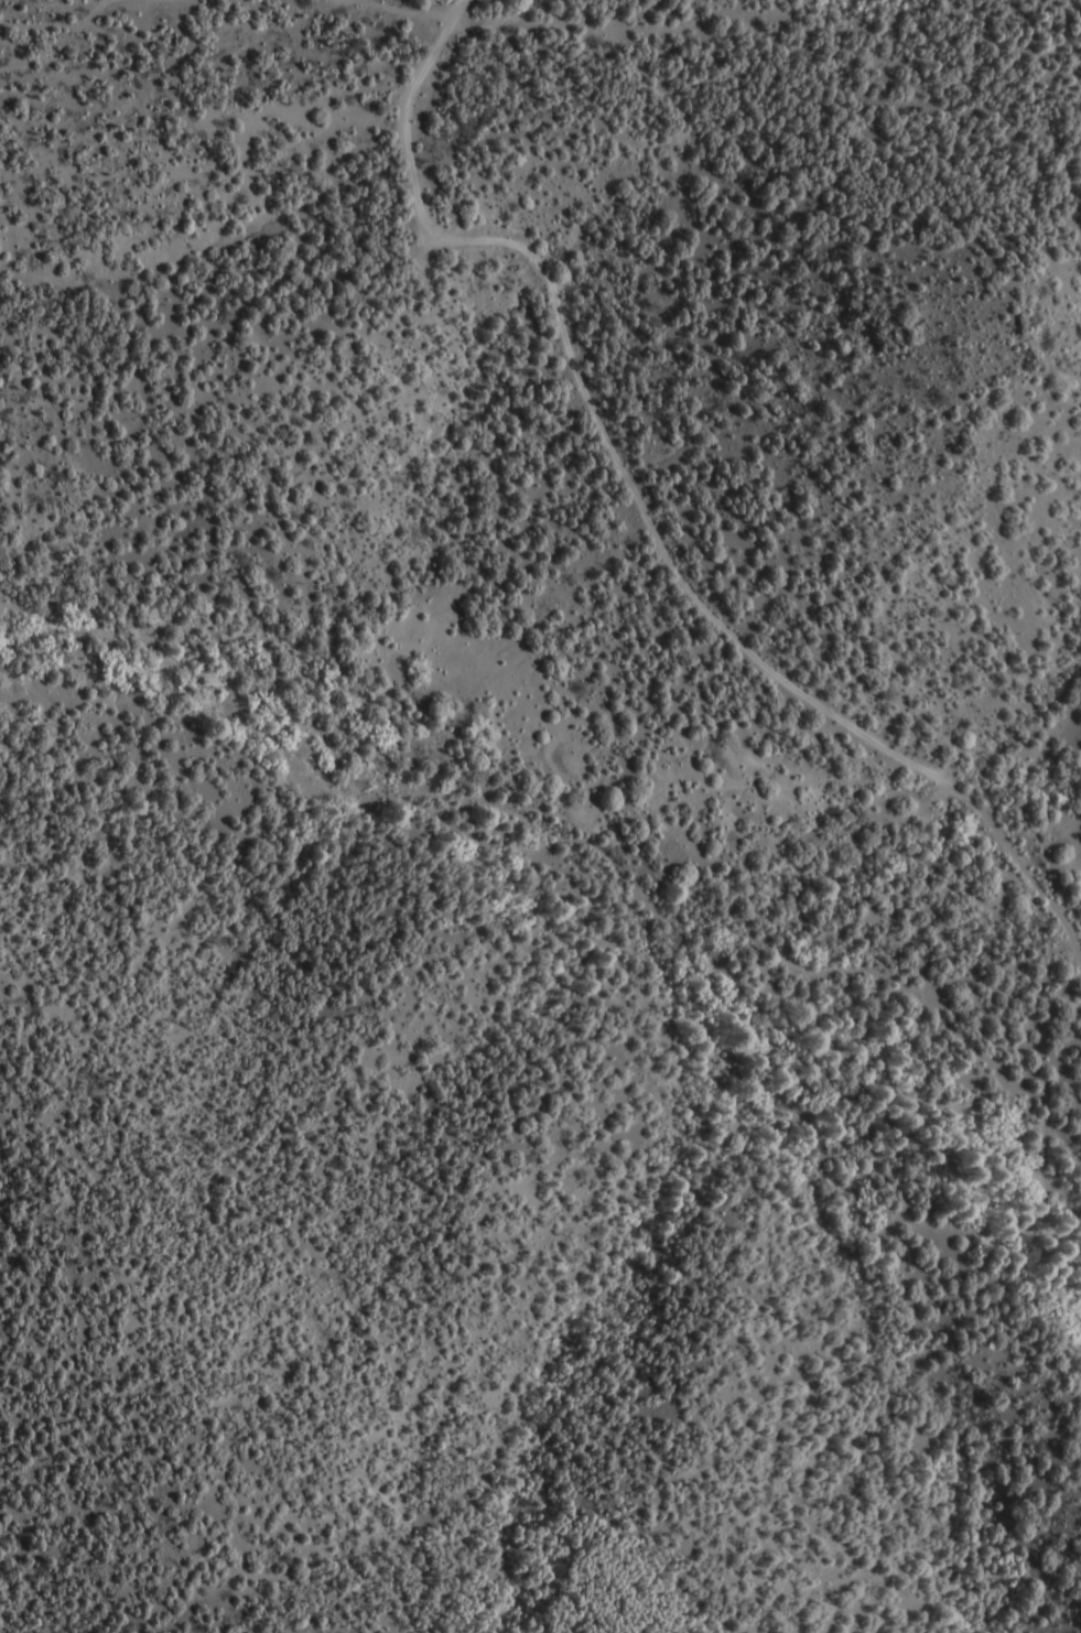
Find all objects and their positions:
road: (645, 537)
road: (555, 888)

